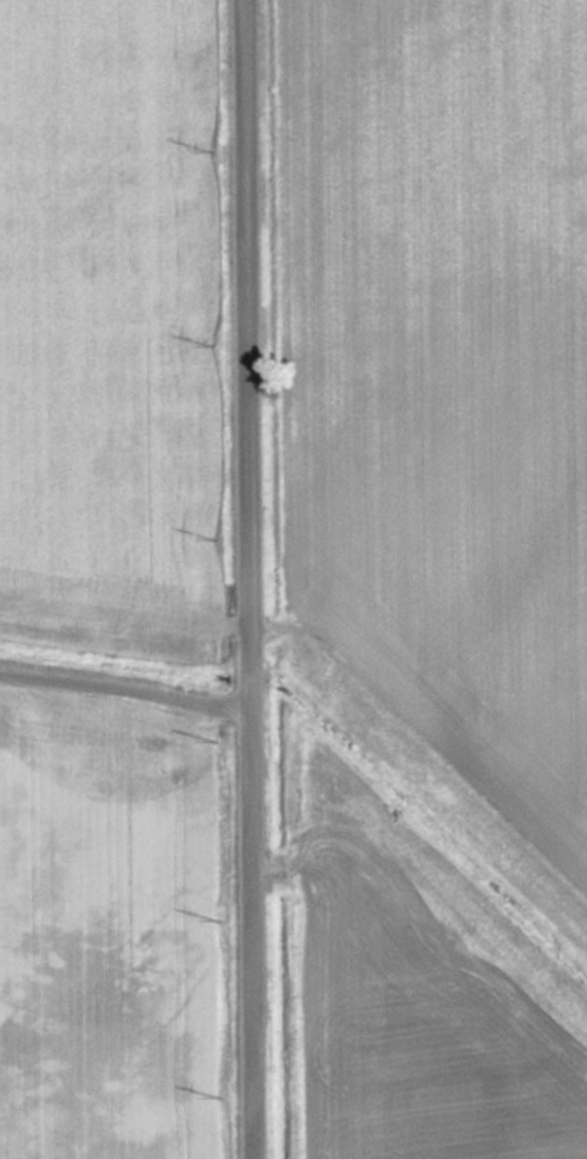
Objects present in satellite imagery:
road: (250, 579)
road: (126, 682)

